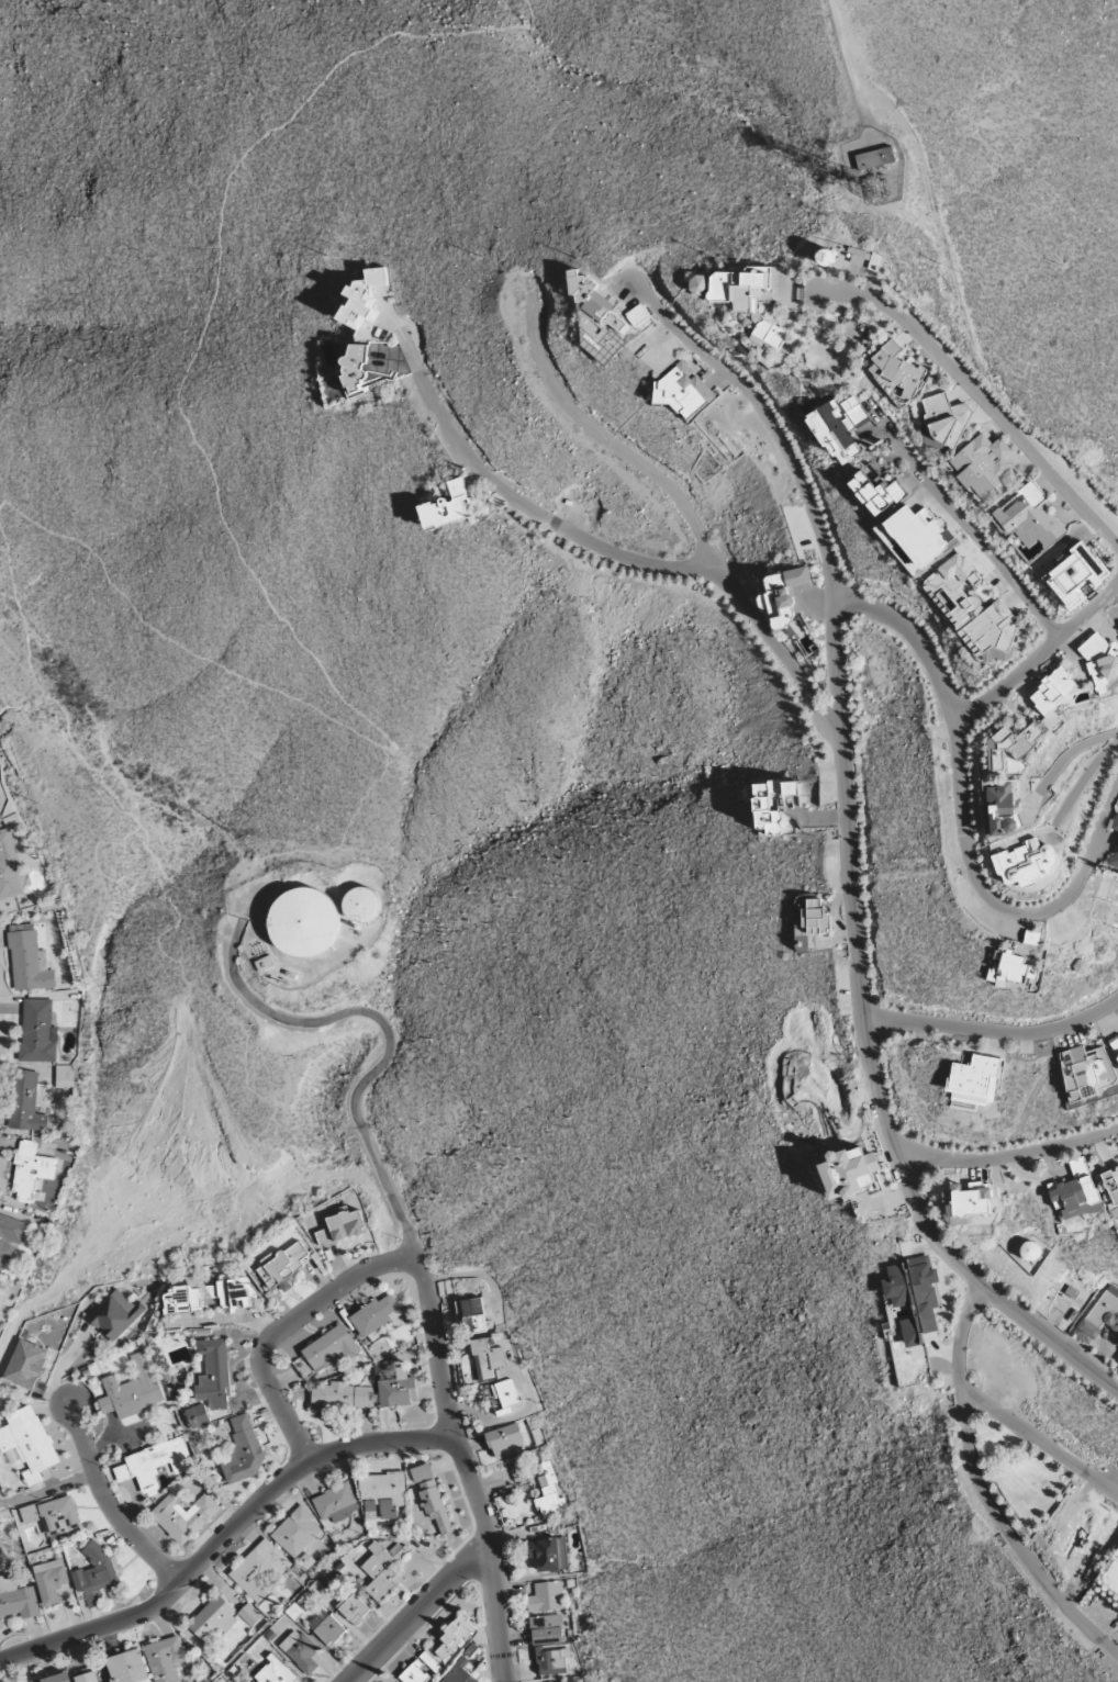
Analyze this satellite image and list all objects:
road: (848, 60)
building: (874, 158)
building: (840, 249)
storage tank: (840, 249)
building: (703, 284)
building: (364, 298)
building: (595, 299)
building: (750, 301)
building: (638, 314)
building: (897, 370)
building: (359, 371)
building: (684, 391)
road: (977, 394)
building: (946, 420)
building: (842, 428)
building: (983, 463)
building: (876, 493)
road: (522, 502)
building: (448, 506)
road: (686, 506)
building: (1030, 517)
road: (963, 519)
road: (232, 534)
building: (918, 536)
building: (1075, 575)
building: (783, 594)
building: (972, 610)
road: (1040, 654)
building: (1100, 661)
building: (1052, 693)
building: (1010, 744)
road: (1066, 758)
road: (1084, 781)
building: (762, 803)
building: (1002, 810)
road: (179, 816)
road: (966, 818)
building: (1115, 823)
road: (852, 849)
road: (313, 851)
road: (150, 852)
building: (1026, 863)
building: (9, 870)
building: (361, 905)
water tower: (362, 905)
building: (815, 916)
building: (305, 921)
water tower: (305, 922)
building: (30, 962)
building: (1010, 971)
road: (333, 1018)
building: (37, 1031)
road: (996, 1031)
building: (1115, 1044)
building: (1087, 1068)
building: (64, 1076)
building: (974, 1081)
building: (25, 1101)
road: (1008, 1156)
building: (31, 1171)
building: (848, 1171)
road: (294, 1173)
building: (1111, 1184)
road: (387, 1195)
building: (1075, 1196)
building: (966, 1201)
building: (342, 1225)
building: (8, 1240)
building: (1030, 1251)
building: (282, 1264)
building: (233, 1292)
building: (914, 1296)
building: (185, 1298)
road: (325, 1299)
building: (115, 1313)
building: (472, 1314)
building: (377, 1315)
building: (1099, 1316)
building: (1117, 1345)
building: (331, 1347)
building: (487, 1358)
building: (1117, 1359)
building: (25, 1364)
building: (215, 1369)
building: (132, 1389)
building: (398, 1392)
building: (507, 1392)
building: (342, 1395)
road: (451, 1405)
building: (198, 1415)
road: (284, 1415)
building: (506, 1440)
building: (29, 1442)
road: (1041, 1443)
road: (380, 1444)
building: (243, 1450)
building: (155, 1464)
road: (985, 1490)
road: (47, 1491)
building: (549, 1493)
building: (382, 1494)
building: (433, 1498)
building: (336, 1502)
road: (109, 1503)
building: (53, 1514)
building: (183, 1515)
building: (297, 1530)
building: (550, 1554)
building: (259, 1568)
building: (383, 1568)
building: (96, 1574)
building: (51, 1580)
road: (169, 1592)
road: (299, 1593)
building: (546, 1596)
building: (18, 1601)
building: (353, 1606)
road: (417, 1613)
building: (249, 1614)
road: (500, 1617)
building: (213, 1619)
building: (327, 1627)
building: (546, 1628)
building: (454, 1637)
building: (301, 1651)
building: (166, 1658)
building: (550, 1660)
building: (429, 1661)
building: (127, 1667)
building: (460, 1670)
building: (275, 1673)
building: (414, 1674)
building: (59, 1678)
building: (88, 1678)

